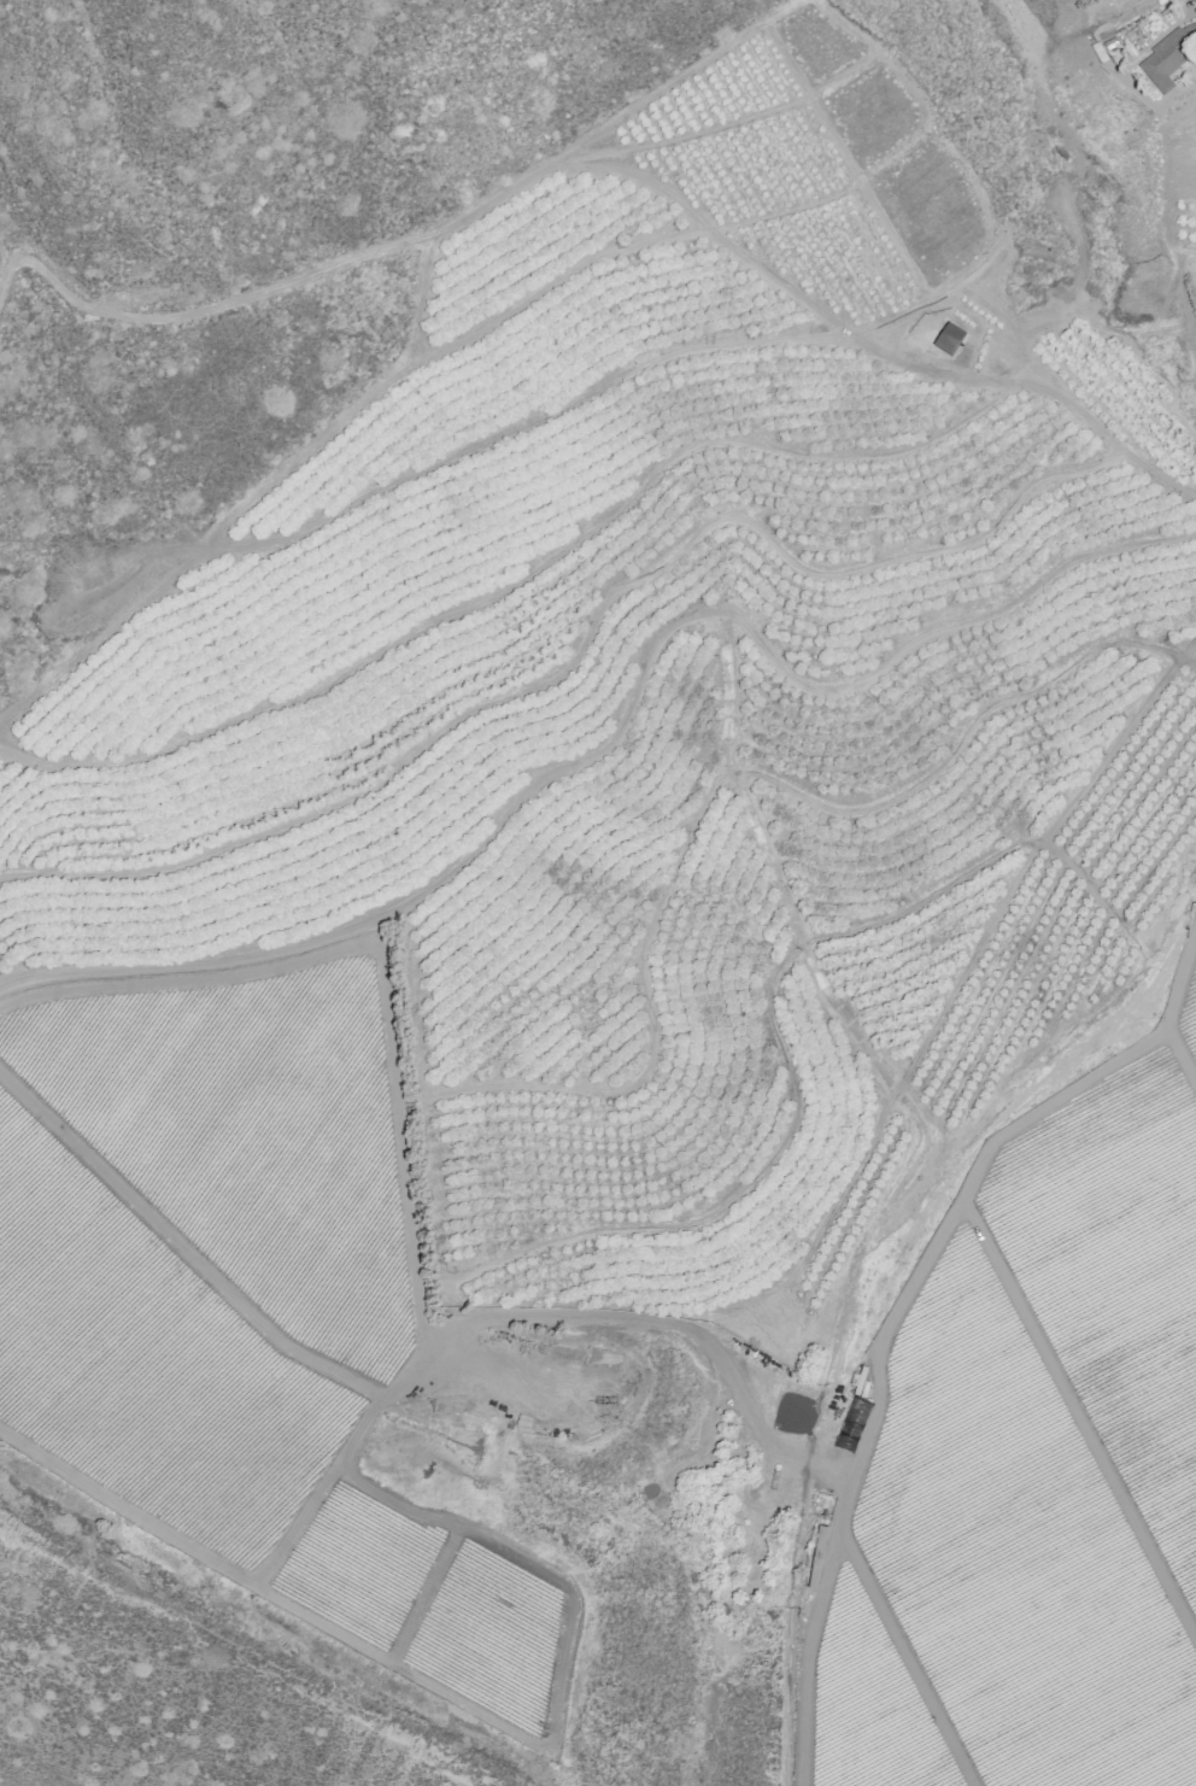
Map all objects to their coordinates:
building: (1168, 57)
road: (676, 139)
road: (452, 221)
road: (625, 246)
road: (1179, 297)
road: (207, 309)
road: (860, 341)
road: (492, 439)
road: (518, 581)
road: (584, 643)
road: (623, 720)
road: (721, 778)
road: (380, 954)
road: (969, 959)
crop: (1188, 1017)
road: (1180, 1056)
road: (796, 1102)
crop: (247, 1138)
road: (952, 1210)
road: (181, 1247)
crop: (1115, 1278)
road: (520, 1314)
crop: (147, 1362)
road: (1079, 1417)
road: (125, 1507)
crop: (1015, 1554)
crop: (357, 1565)
road: (423, 1593)
crop: (489, 1636)
road: (907, 1658)
road: (804, 1677)
crop: (869, 1703)
road: (557, 1704)

